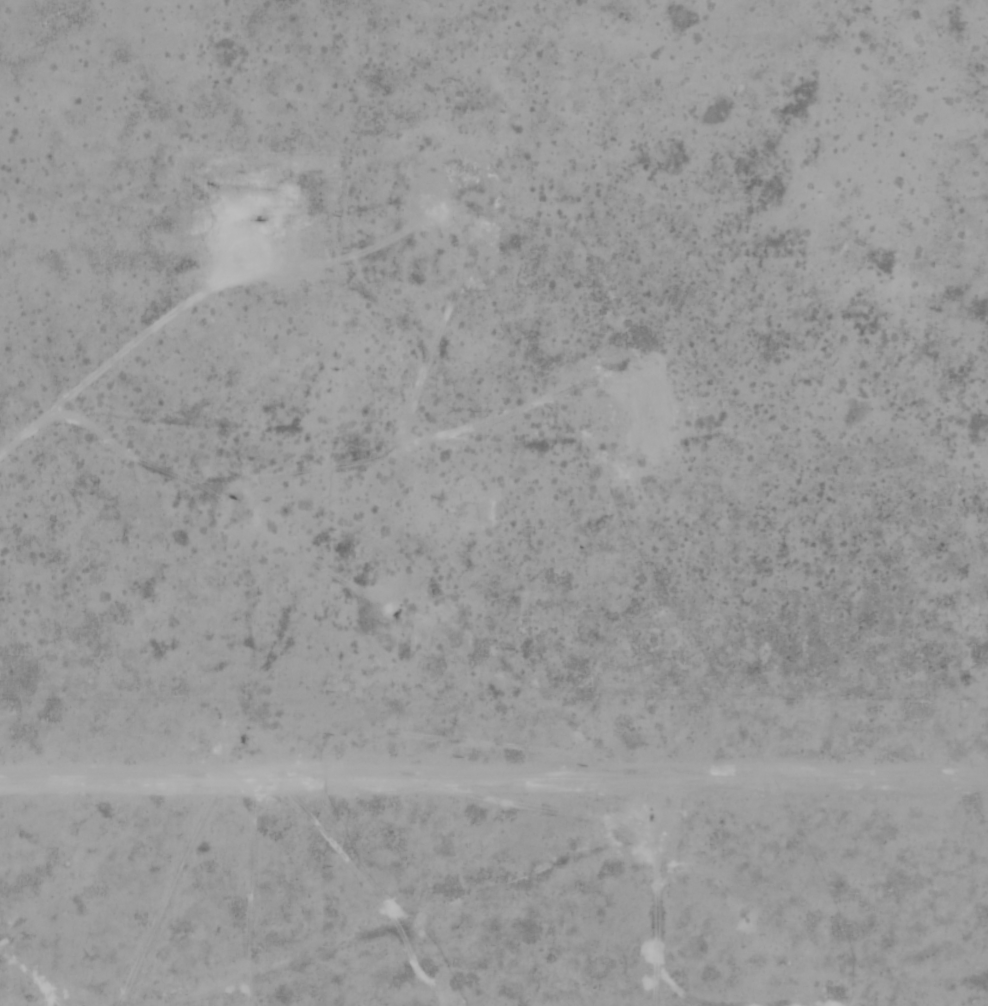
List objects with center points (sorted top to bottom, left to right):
road: (636, 382)
road: (17, 413)
road: (274, 562)
road: (189, 787)
road: (319, 858)
road: (562, 874)

